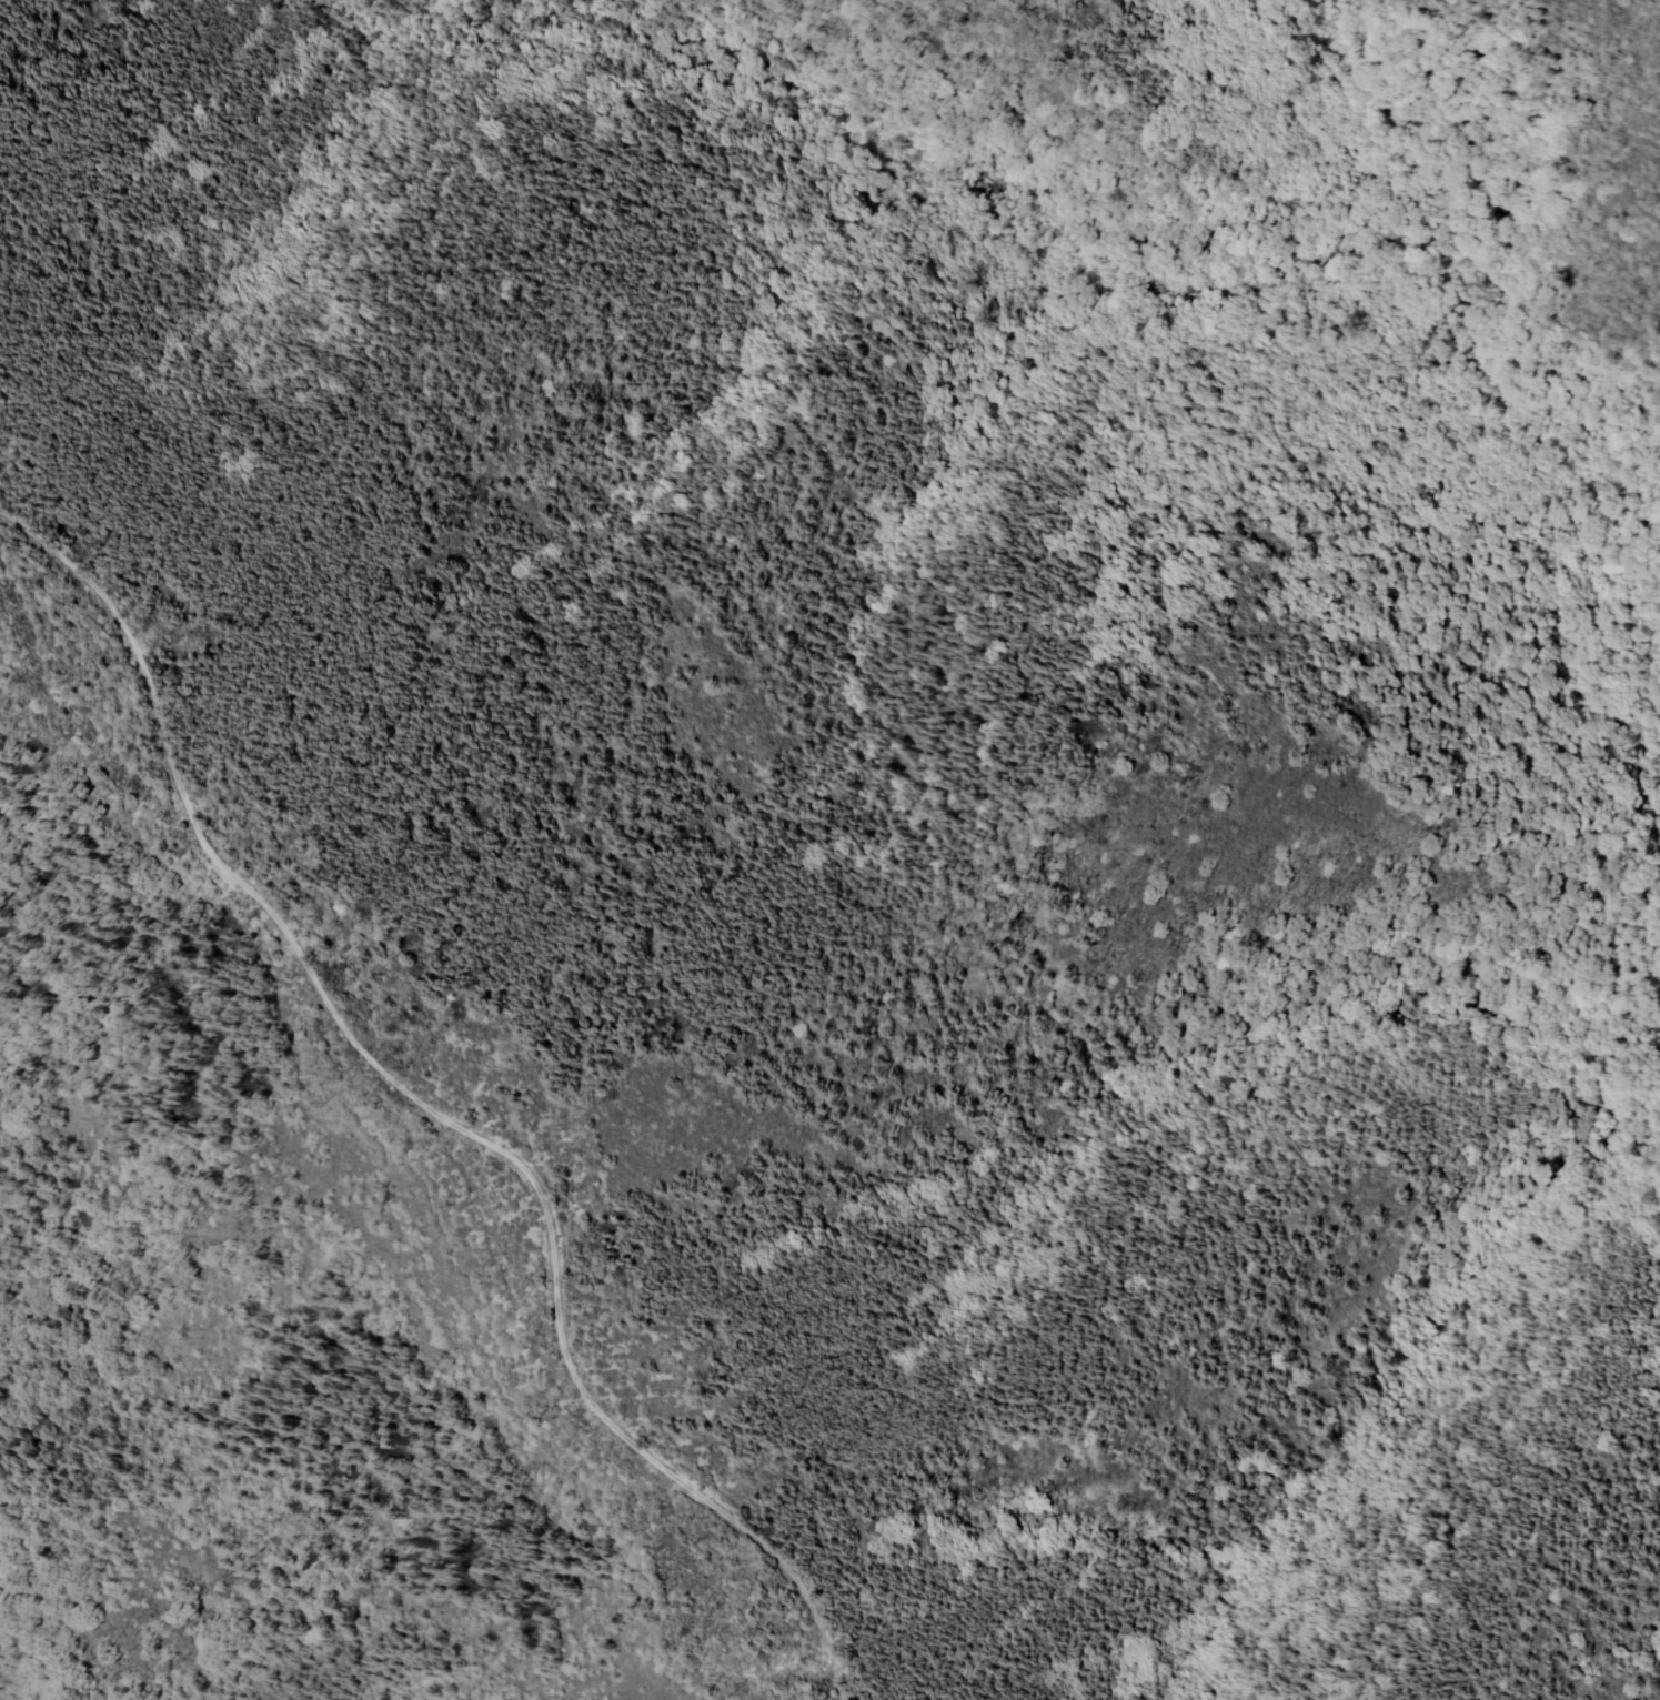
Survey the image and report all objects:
road: (432, 1109)

